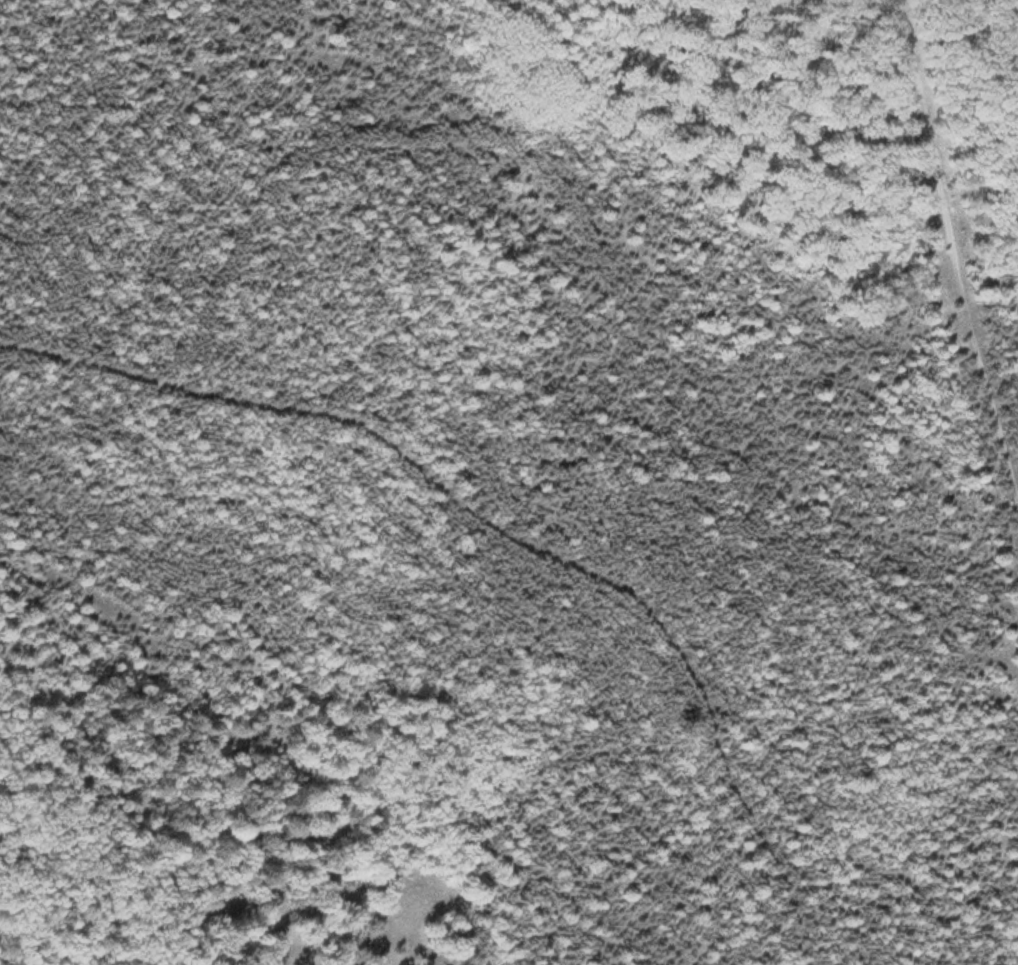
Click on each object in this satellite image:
road: (960, 240)
road: (512, 529)

